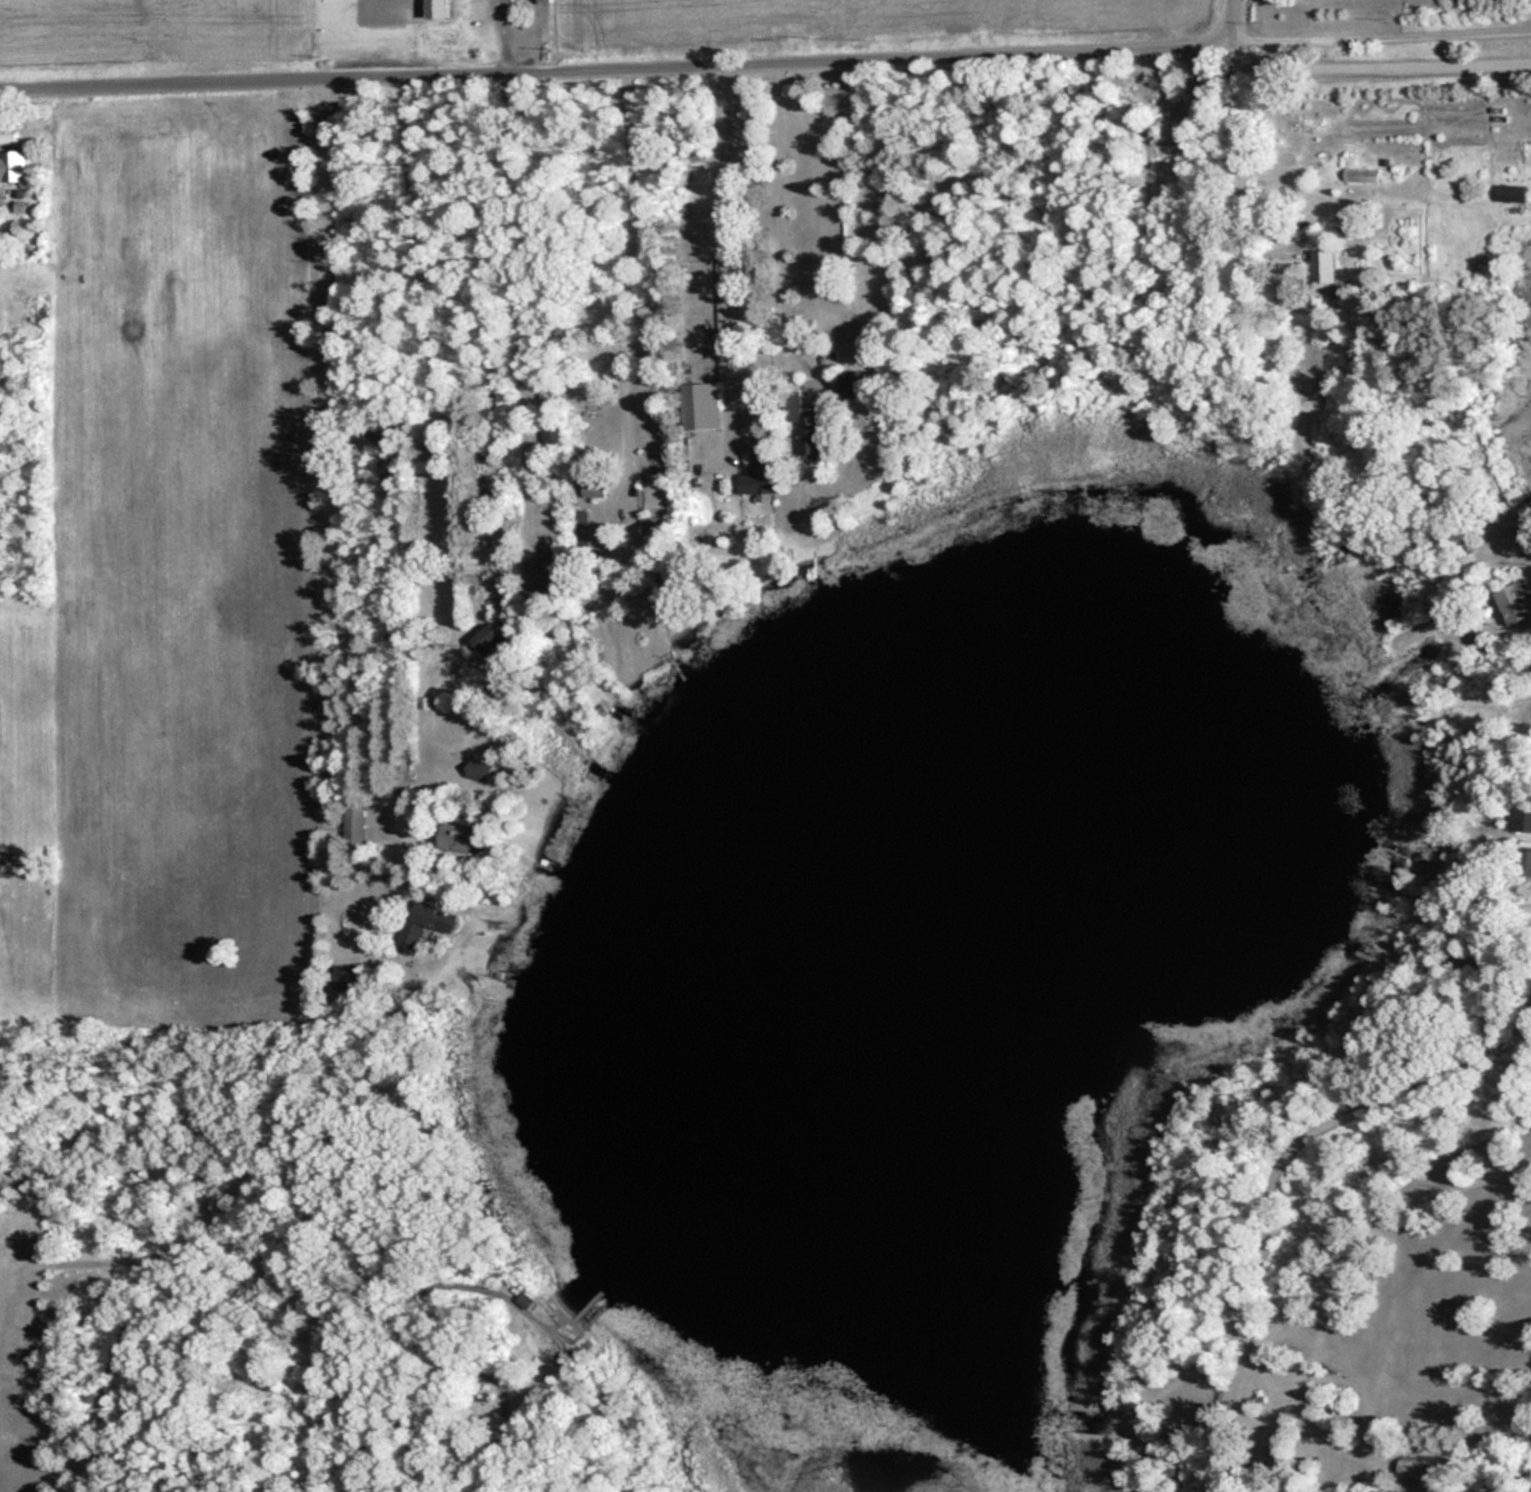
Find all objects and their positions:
building: (440, 10)
road: (1228, 20)
road: (1367, 63)
road: (609, 69)
road: (1211, 161)
building: (14, 165)
building: (1512, 192)
road: (780, 225)
road: (728, 256)
building: (1323, 275)
building: (849, 382)
building: (548, 397)
building: (703, 405)
building: (806, 425)
building: (762, 472)
road: (332, 473)
building: (595, 486)
road: (323, 494)
building: (653, 536)
building: (547, 569)
building: (1516, 602)
building: (490, 638)
building: (481, 769)
building: (1524, 818)
building: (355, 824)
building: (459, 836)
building: (1526, 861)
building: (420, 924)
building: (525, 1301)
building: (1422, 1467)

